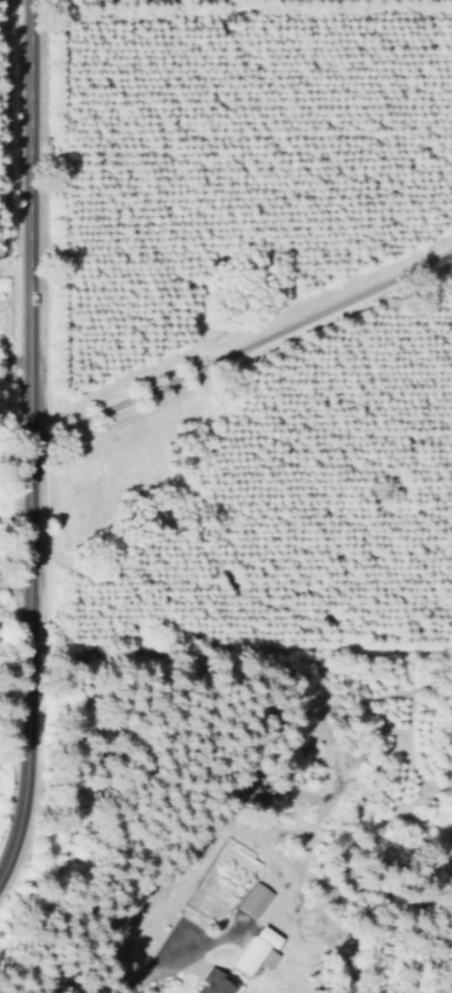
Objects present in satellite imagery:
road: (236, 348)
road: (21, 422)
building: (252, 900)
building: (253, 951)
building: (211, 983)

